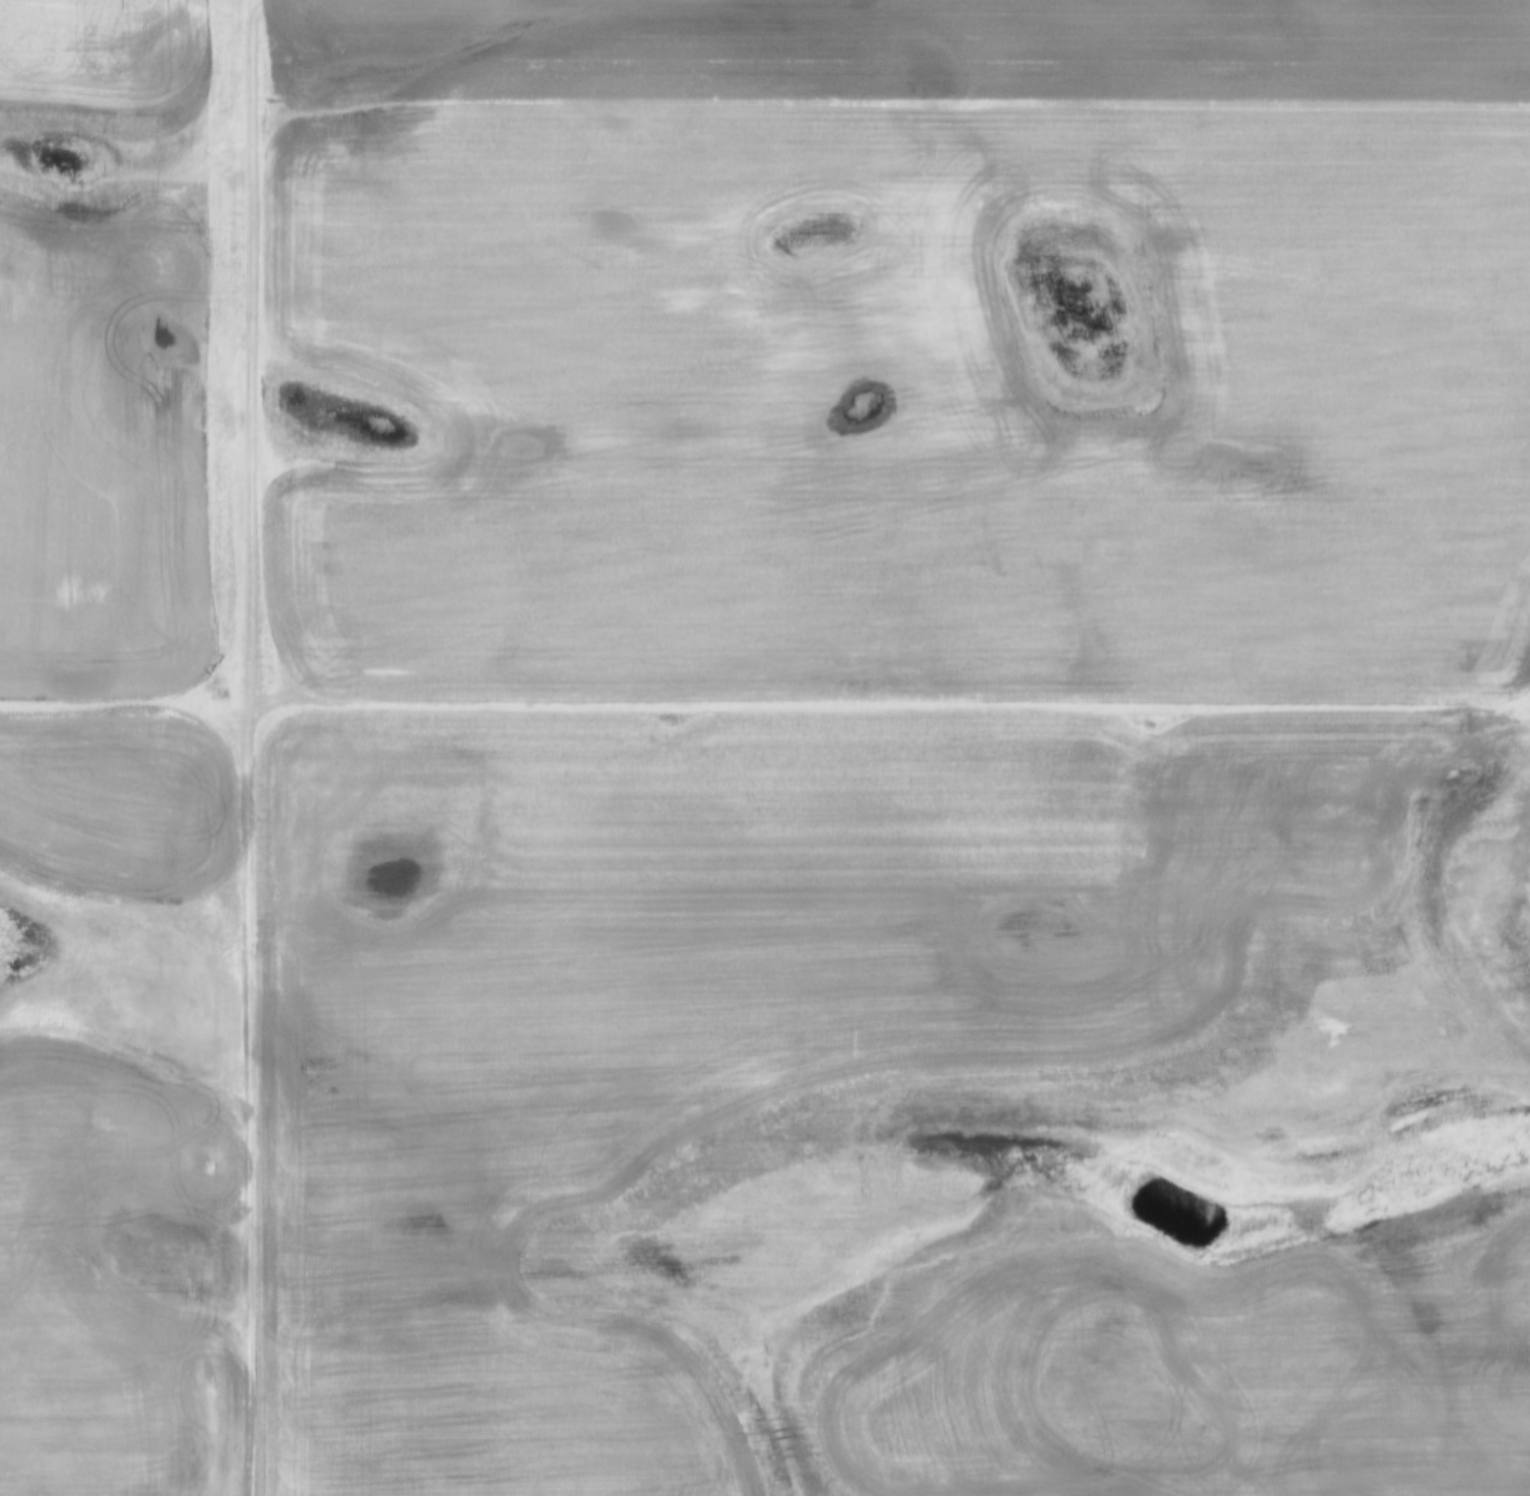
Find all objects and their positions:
road: (764, 700)
road: (248, 748)

